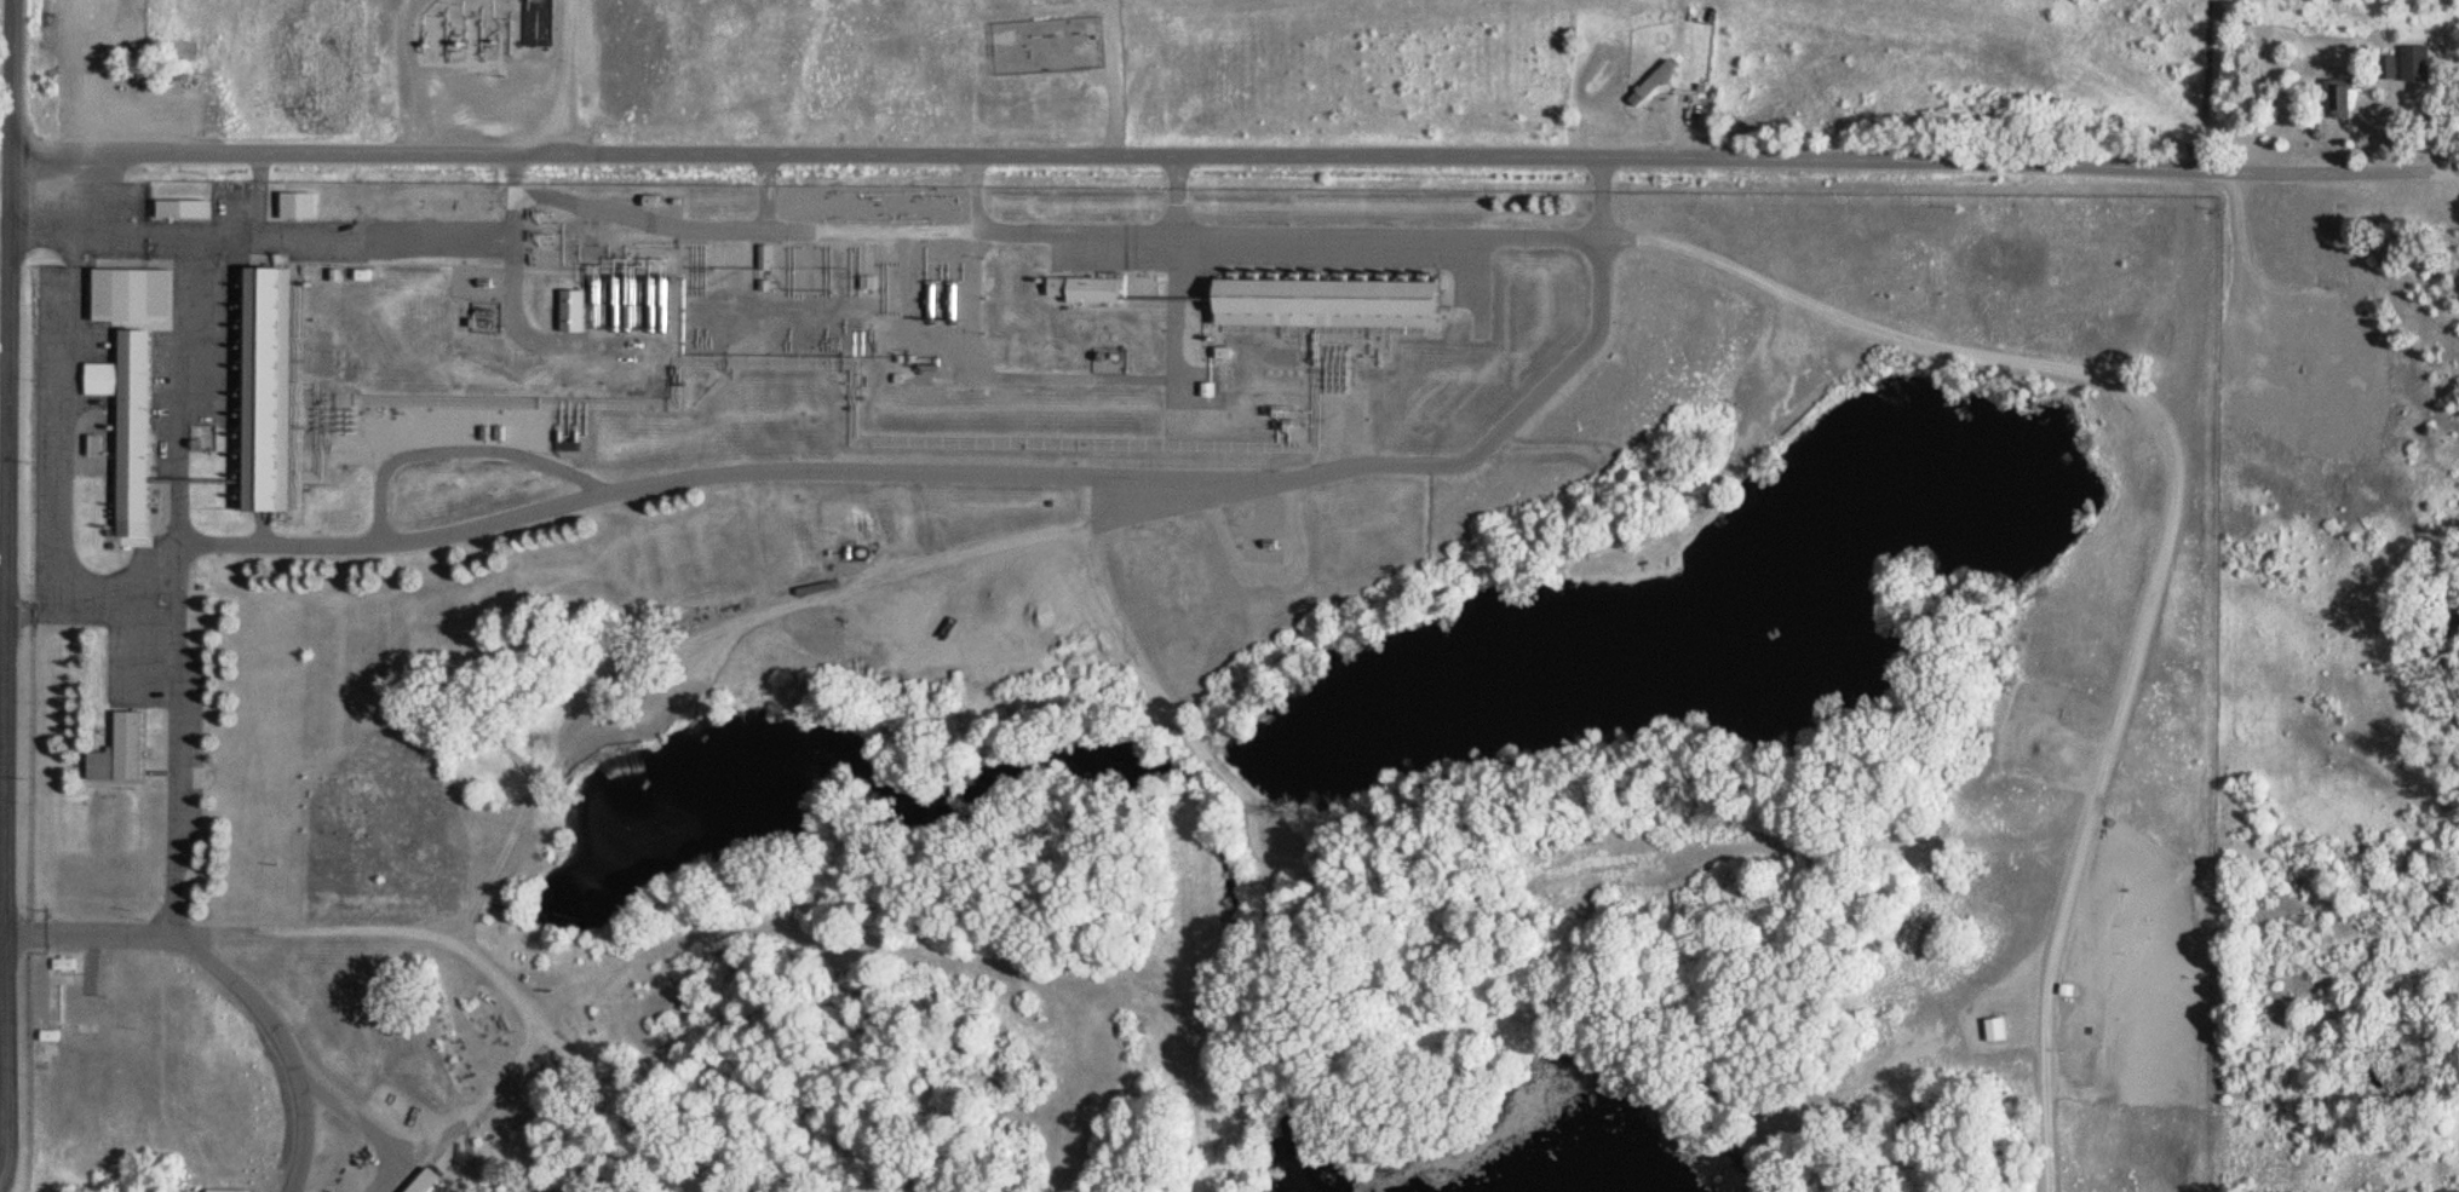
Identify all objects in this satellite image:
building: (541, 1)
building: (541, 10)
building: (2420, 64)
road: (1108, 77)
building: (1654, 85)
building: (2345, 100)
road: (1108, 154)
road: (2332, 168)
road: (2455, 174)
road: (814, 197)
road: (1000, 200)
building: (303, 205)
building: (188, 209)
road: (252, 230)
road: (1086, 247)
building: (1092, 290)
road: (1153, 295)
building: (1339, 304)
building: (576, 311)
building: (139, 378)
road: (183, 388)
building: (277, 388)
road: (2144, 405)
road: (467, 449)
road: (909, 465)
road: (1214, 499)
road: (7, 592)
building: (990, 604)
building: (123, 752)
road: (4, 801)
road: (2075, 806)
road: (160, 894)
road: (397, 933)
building: (1998, 1030)
building: (435, 1182)

